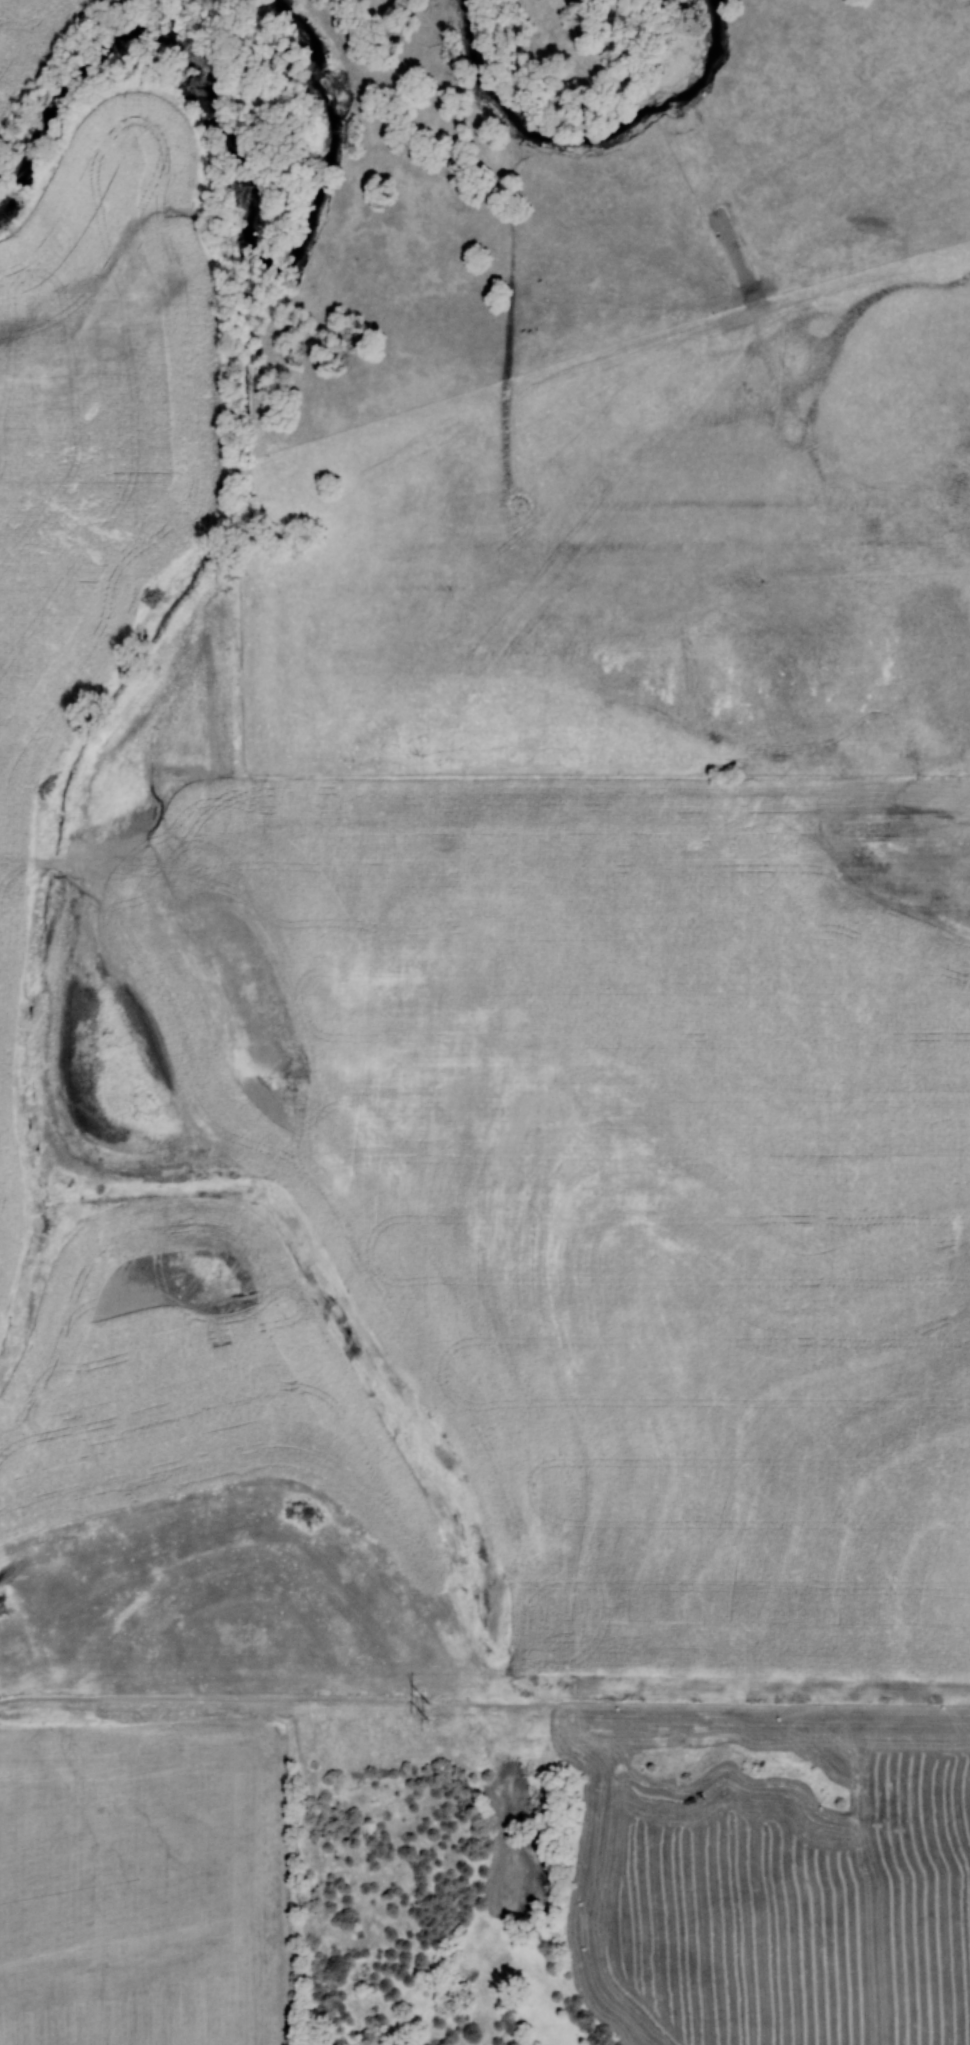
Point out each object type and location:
river: (581, 140)
river: (240, 164)
power tower: (427, 1710)

